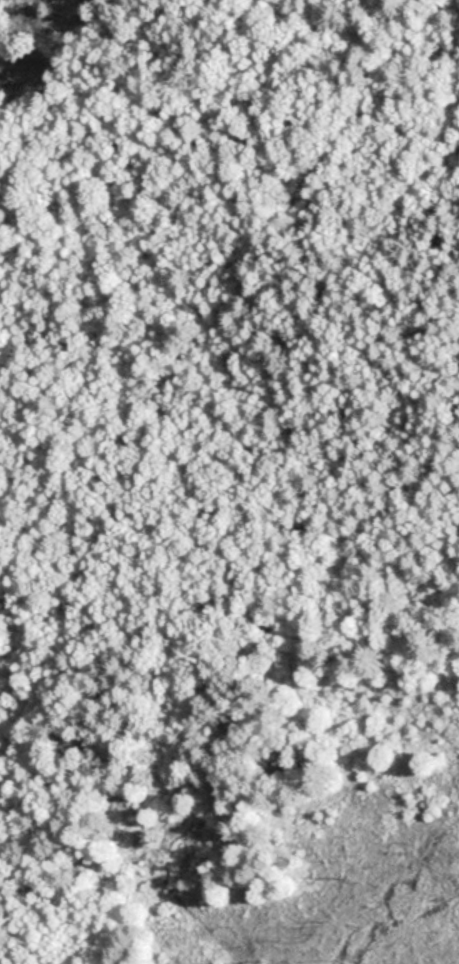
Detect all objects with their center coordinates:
park: (229, 482)

